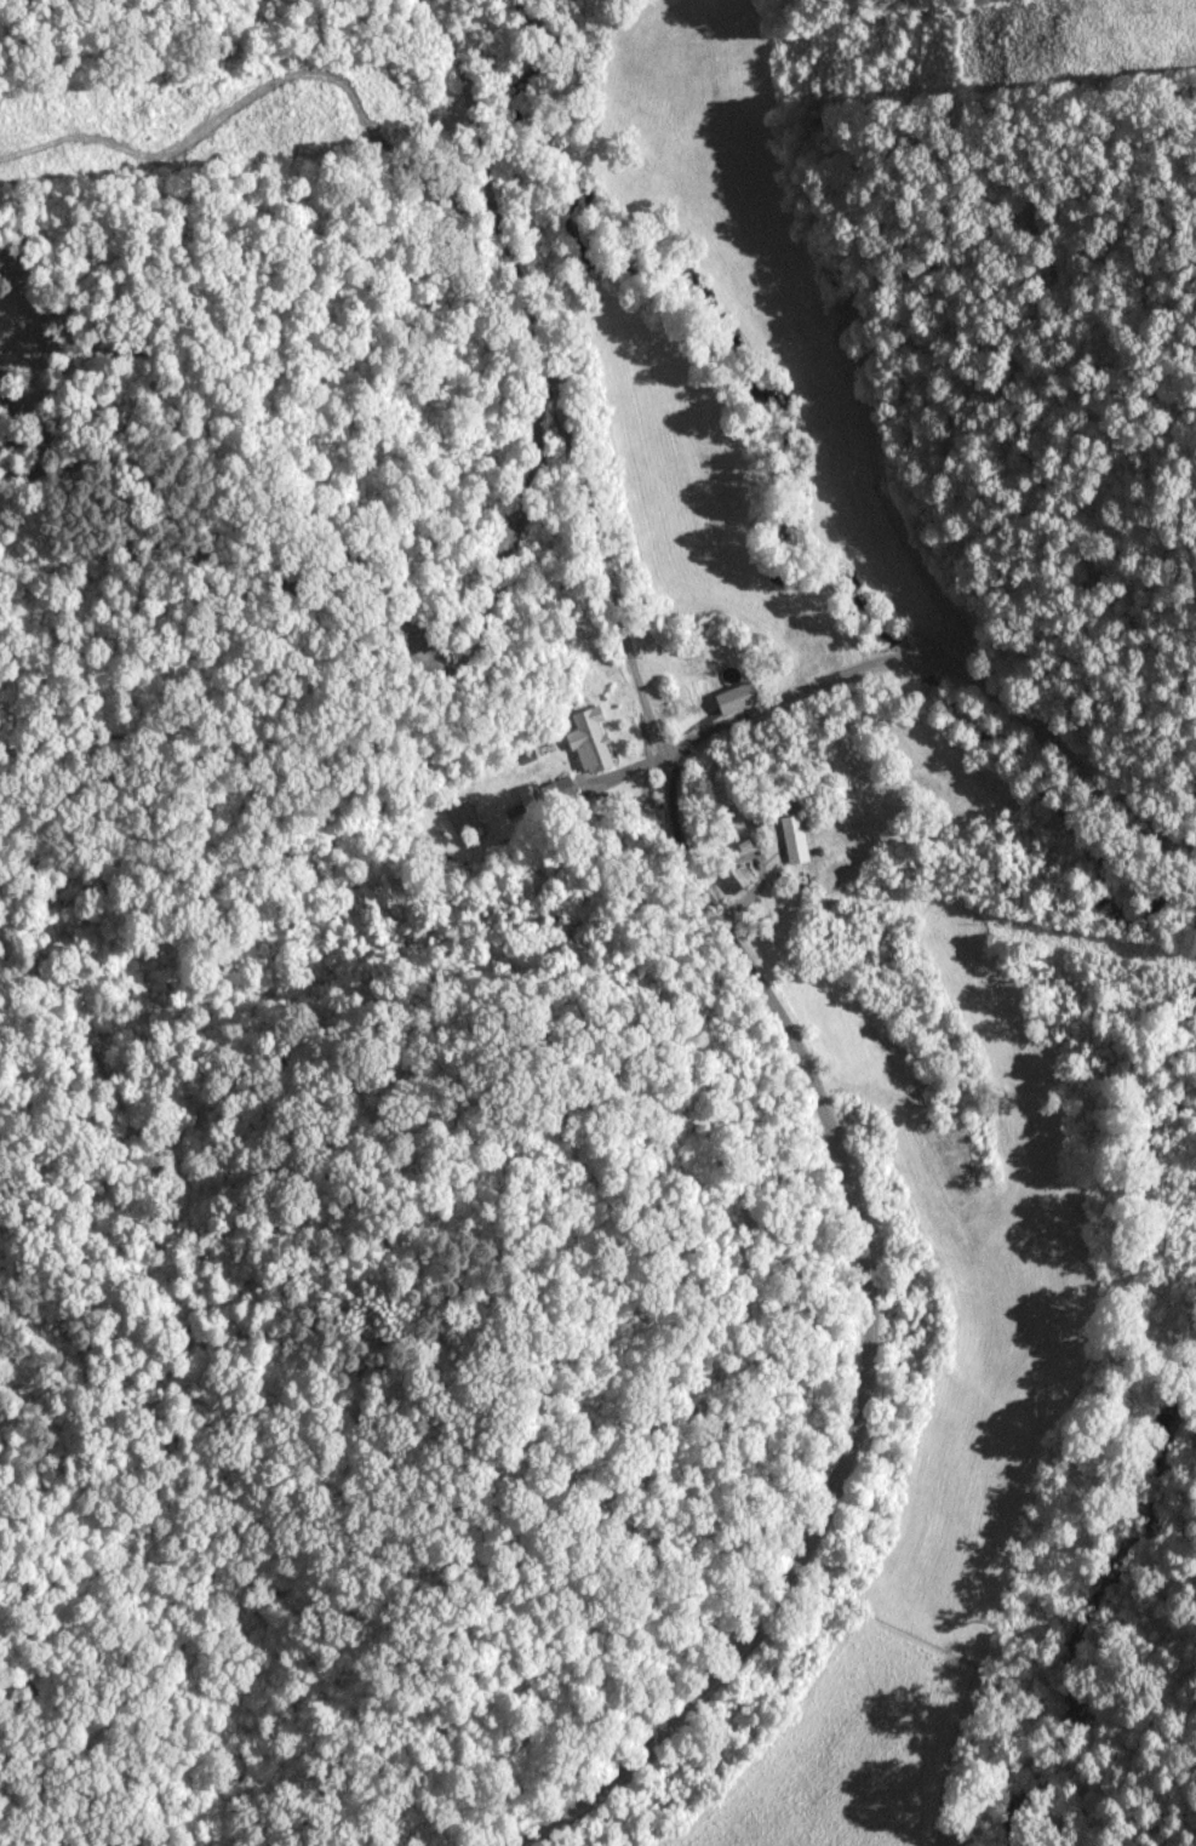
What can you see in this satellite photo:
road: (940, 662)
building: (737, 698)
building: (591, 743)
building: (562, 791)
building: (465, 823)
building: (796, 836)
building: (738, 880)
road: (756, 973)
river: (1076, 1613)

